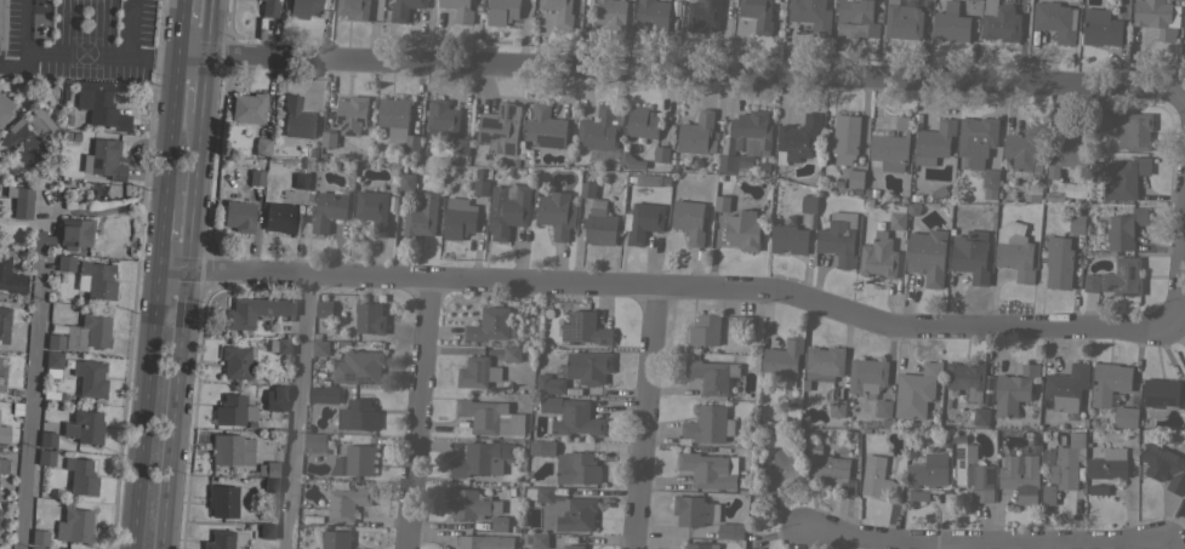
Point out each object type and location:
building: (302, 7)
building: (268, 8)
building: (353, 8)
building: (404, 8)
building: (458, 10)
building: (501, 11)
building: (559, 11)
building: (610, 13)
building: (651, 15)
building: (702, 15)
building: (757, 15)
building: (810, 15)
building: (1157, 17)
building: (855, 19)
building: (1055, 19)
building: (902, 21)
building: (999, 21)
building: (1, 23)
building: (950, 23)
road: (177, 24)
road: (205, 25)
building: (1100, 27)
road: (127, 51)
road: (679, 70)
road: (200, 82)
building: (99, 105)
building: (246, 107)
building: (4, 108)
building: (393, 111)
building: (351, 113)
building: (296, 118)
building: (441, 120)
building: (642, 122)
building: (1103, 124)
building: (545, 126)
road: (167, 127)
building: (499, 128)
building: (600, 128)
building: (1134, 131)
building: (697, 133)
building: (27, 136)
building: (70, 137)
building: (329, 138)
building: (797, 138)
building: (844, 138)
building: (976, 138)
rooftop solar panel: (552, 139)
building: (746, 141)
building: (411, 142)
building: (933, 142)
building: (261, 145)
building: (461, 145)
building: (890, 147)
building: (1069, 149)
building: (1025, 150)
building: (660, 154)
building: (103, 159)
building: (631, 161)
rooftop solar panel: (92, 162)
rooftop solar panel: (116, 177)
building: (255, 177)
building: (855, 177)
building: (1123, 177)
building: (648, 179)
building: (300, 181)
building: (406, 181)
building: (990, 183)
building: (587, 184)
building: (480, 187)
rooftop solar panel: (8, 191)
road: (190, 193)
building: (19, 201)
building: (720, 202)
building: (809, 204)
building: (327, 210)
building: (372, 210)
building: (507, 210)
building: (556, 213)
building: (238, 216)
building: (898, 216)
building: (279, 217)
building: (421, 217)
building: (689, 219)
building: (642, 221)
building: (1076, 222)
building: (458, 223)
building: (599, 223)
building: (1123, 228)
building: (742, 229)
building: (74, 233)
road: (158, 238)
building: (838, 238)
building: (40, 239)
building: (788, 239)
road: (1180, 245)
building: (1014, 250)
rooftop solar panel: (6, 252)
building: (927, 255)
building: (970, 255)
building: (878, 256)
building: (1058, 262)
building: (64, 263)
rooftop solar panel: (1118, 267)
road: (169, 270)
rooftop solar panel: (1132, 270)
building: (10, 274)
building: (1122, 276)
building: (95, 280)
building: (1092, 282)
rooftop solar panel: (5, 286)
road: (682, 288)
building: (324, 308)
building: (256, 310)
building: (369, 318)
building: (744, 322)
building: (489, 324)
building: (4, 325)
building: (585, 327)
building: (705, 330)
building: (87, 332)
building: (53, 342)
building: (319, 344)
building: (280, 345)
building: (511, 353)
building: (782, 358)
building: (235, 361)
building: (52, 362)
building: (822, 364)
building: (1, 366)
building: (588, 366)
building: (358, 367)
building: (477, 372)
building: (711, 374)
rooftop solar panel: (349, 376)
building: (867, 376)
building: (0, 377)
building: (89, 378)
rooftop solar panel: (371, 379)
building: (965, 379)
rooftop solar panel: (361, 381)
building: (1109, 382)
building: (549, 384)
building: (1065, 388)
building: (1014, 389)
building: (916, 390)
building: (279, 391)
building: (315, 394)
building: (1160, 396)
road: (29, 406)
building: (837, 407)
road: (142, 408)
building: (232, 410)
road: (170, 411)
building: (883, 411)
road: (295, 413)
building: (358, 414)
road: (418, 416)
building: (570, 416)
building: (981, 416)
building: (1126, 416)
building: (490, 417)
road: (643, 418)
building: (708, 424)
building: (82, 427)
building: (2, 434)
building: (46, 439)
building: (314, 440)
building: (540, 447)
building: (230, 450)
building: (45, 457)
building: (480, 458)
building: (354, 461)
building: (825, 462)
building: (1107, 464)
building: (2, 465)
building: (1163, 465)
building: (576, 468)
building: (1062, 468)
building: (268, 469)
building: (708, 469)
building: (928, 470)
building: (973, 473)
building: (776, 474)
building: (80, 475)
building: (1020, 476)
building: (878, 479)
building: (270, 484)
building: (1098, 490)
building: (916, 494)
building: (221, 501)
building: (346, 503)
building: (471, 503)
building: (563, 508)
building: (694, 510)
building: (499, 522)
building: (73, 526)
building: (266, 530)
building: (730, 531)
building: (38, 537)
building: (218, 539)
building: (335, 539)
building: (539, 539)
building: (485, 542)
road: (989, 544)
building: (700, 545)
building: (572, 547)
road: (956, 547)
building: (36, 548)

